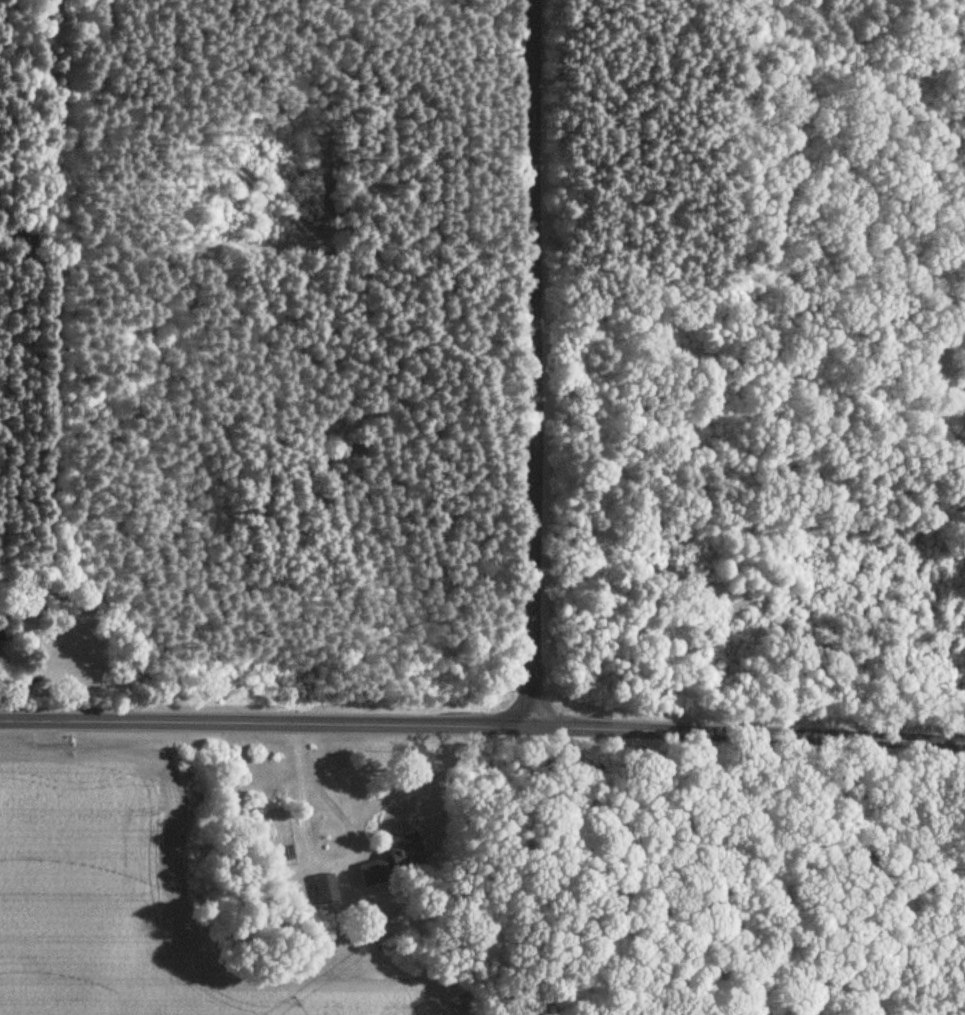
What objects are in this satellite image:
road: (531, 362)
parking lot: (954, 412)
road: (730, 420)
road: (482, 724)
building: (393, 860)
road: (319, 862)
building: (325, 889)

